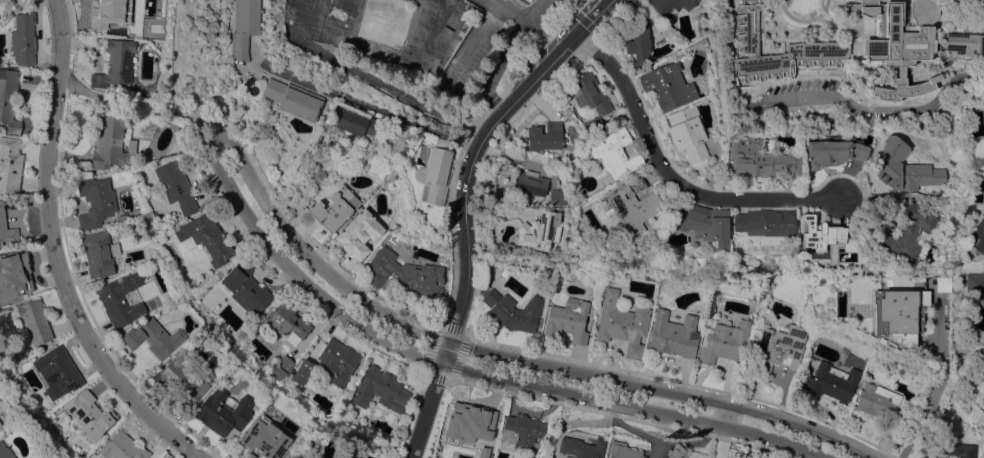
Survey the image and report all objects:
building: (10, 0)
building: (524, 0)
building: (527, 0)
building: (853, 0)
building: (4, 1)
building: (670, 5)
road: (532, 7)
building: (104, 15)
road: (593, 16)
building: (701, 23)
building: (244, 27)
building: (23, 38)
building: (637, 40)
building: (747, 41)
building: (898, 42)
building: (963, 43)
building: (701, 44)
building: (115, 64)
road: (499, 64)
building: (710, 83)
road: (527, 85)
building: (667, 86)
building: (570, 87)
road: (396, 93)
building: (589, 93)
road: (816, 97)
building: (9, 99)
building: (293, 99)
road: (371, 106)
building: (353, 122)
building: (593, 124)
building: (687, 132)
building: (544, 136)
building: (111, 139)
building: (180, 140)
building: (833, 152)
building: (613, 153)
building: (760, 159)
building: (9, 164)
building: (903, 168)
building: (434, 173)
road: (670, 177)
building: (529, 183)
building: (175, 186)
building: (556, 197)
building: (95, 201)
building: (632, 205)
building: (968, 205)
building: (334, 208)
building: (765, 222)
building: (704, 223)
building: (6, 229)
building: (135, 230)
building: (537, 231)
building: (908, 232)
building: (818, 233)
building: (358, 234)
building: (204, 237)
building: (976, 237)
road: (53, 252)
building: (97, 253)
building: (860, 257)
building: (403, 273)
building: (14, 279)
building: (974, 284)
building: (245, 289)
building: (121, 298)
road: (461, 301)
building: (173, 305)
building: (896, 312)
building: (509, 313)
building: (568, 319)
building: (34, 321)
building: (286, 323)
building: (623, 323)
building: (673, 334)
building: (153, 338)
building: (204, 338)
building: (724, 342)
building: (779, 347)
building: (982, 354)
building: (338, 360)
road: (493, 365)
building: (281, 368)
building: (57, 371)
building: (302, 371)
building: (181, 378)
building: (831, 381)
road: (930, 388)
building: (379, 390)
building: (878, 401)
building: (222, 413)
building: (90, 415)
building: (473, 422)
building: (0, 425)
building: (0, 427)
building: (522, 431)
building: (291, 432)
building: (892, 432)
building: (257, 443)
building: (122, 447)
building: (581, 447)
building: (955, 449)
building: (5, 451)
building: (622, 451)
building: (291, 456)
building: (294, 456)
building: (659, 457)

